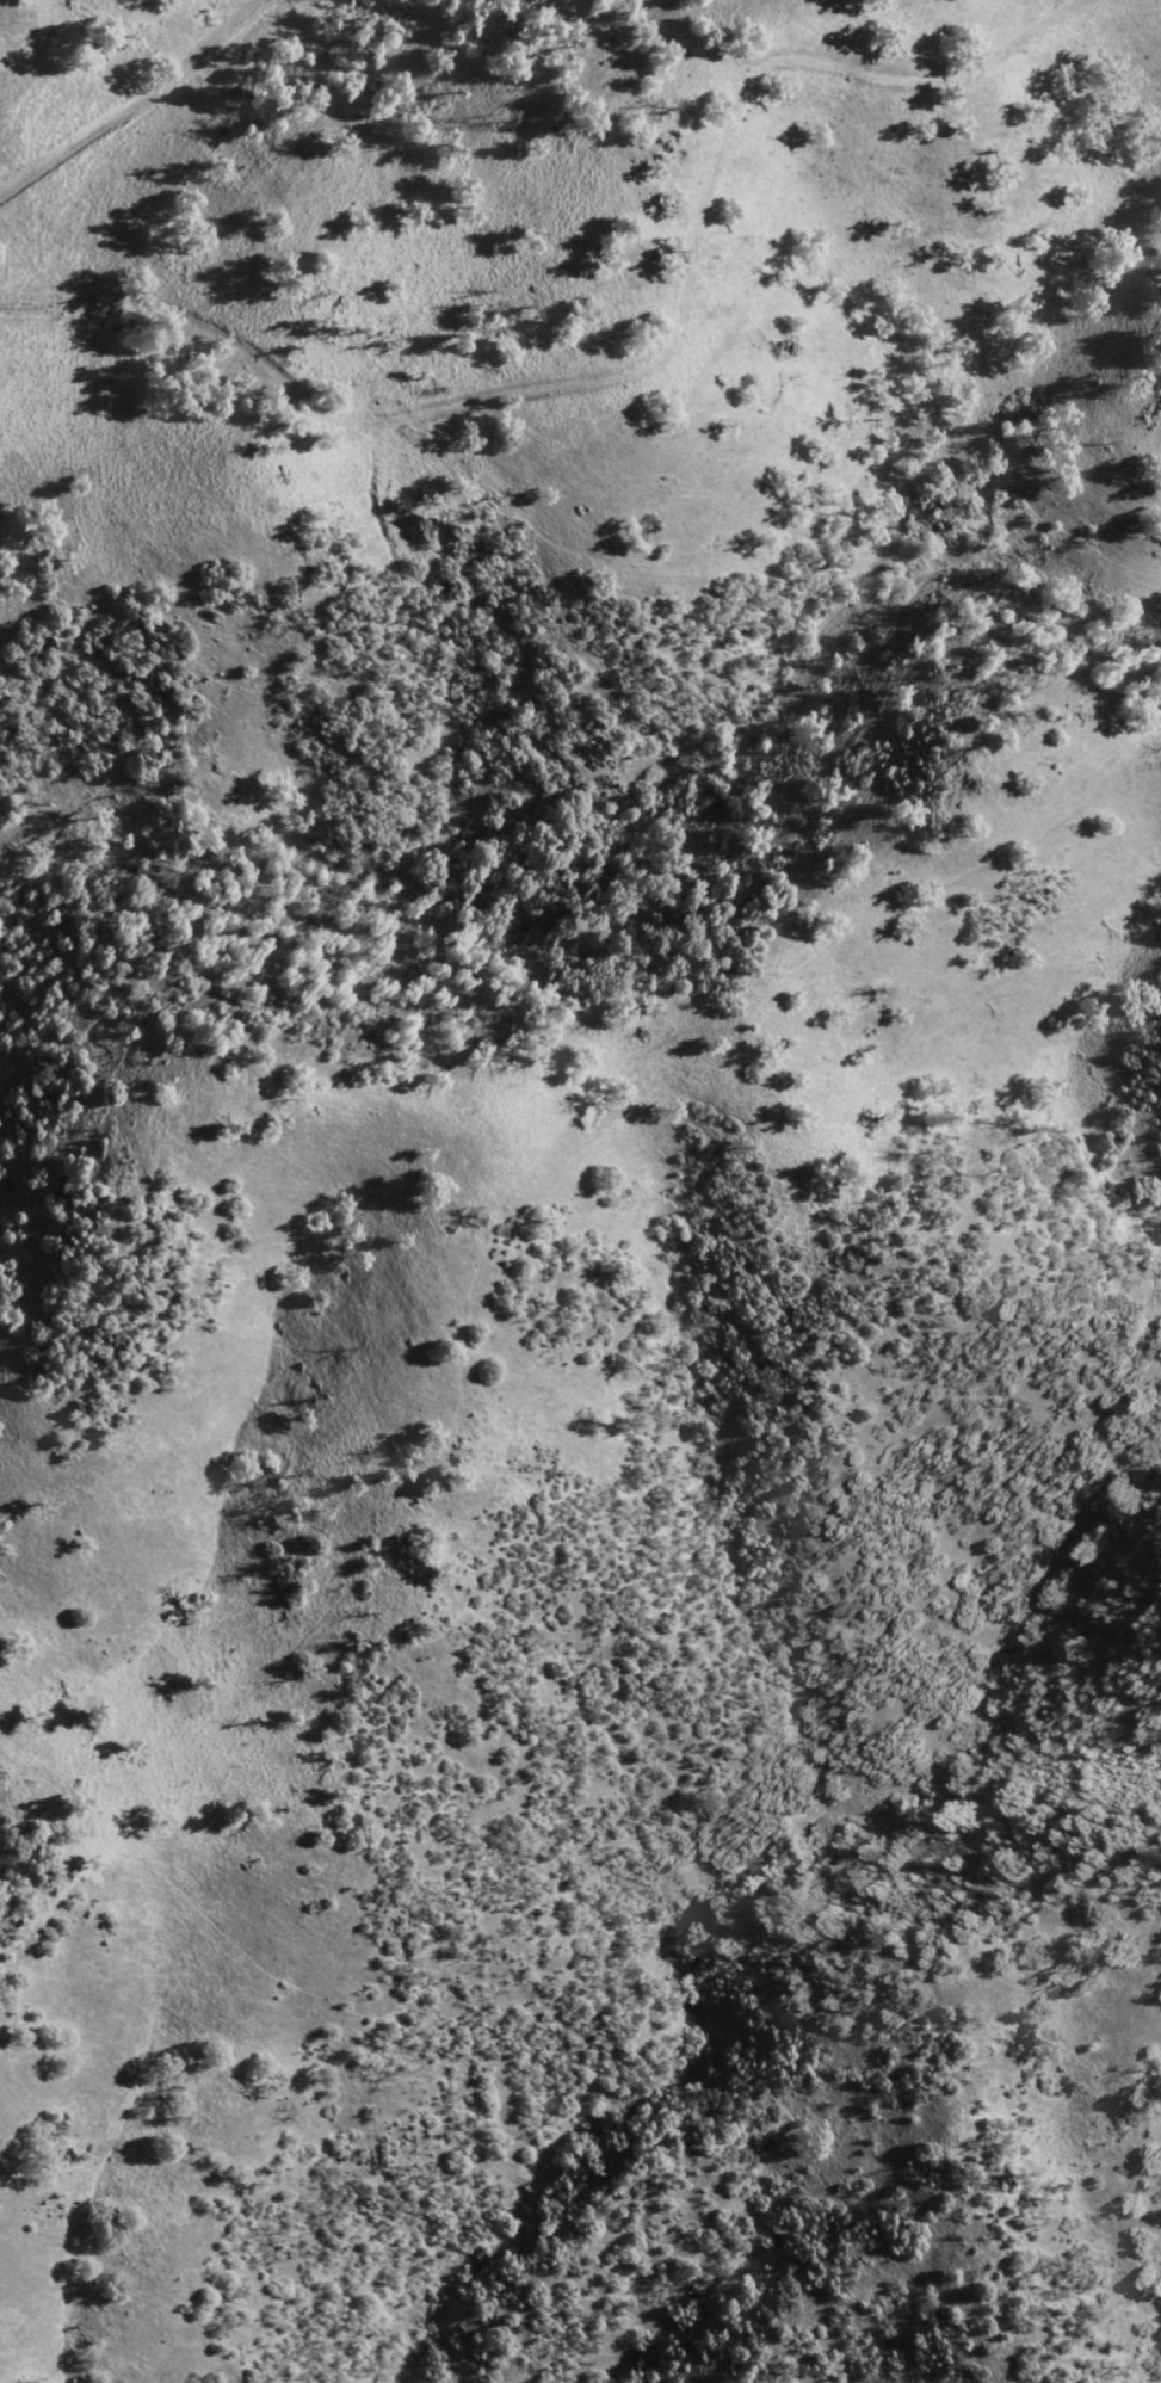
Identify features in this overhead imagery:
road: (148, 110)

